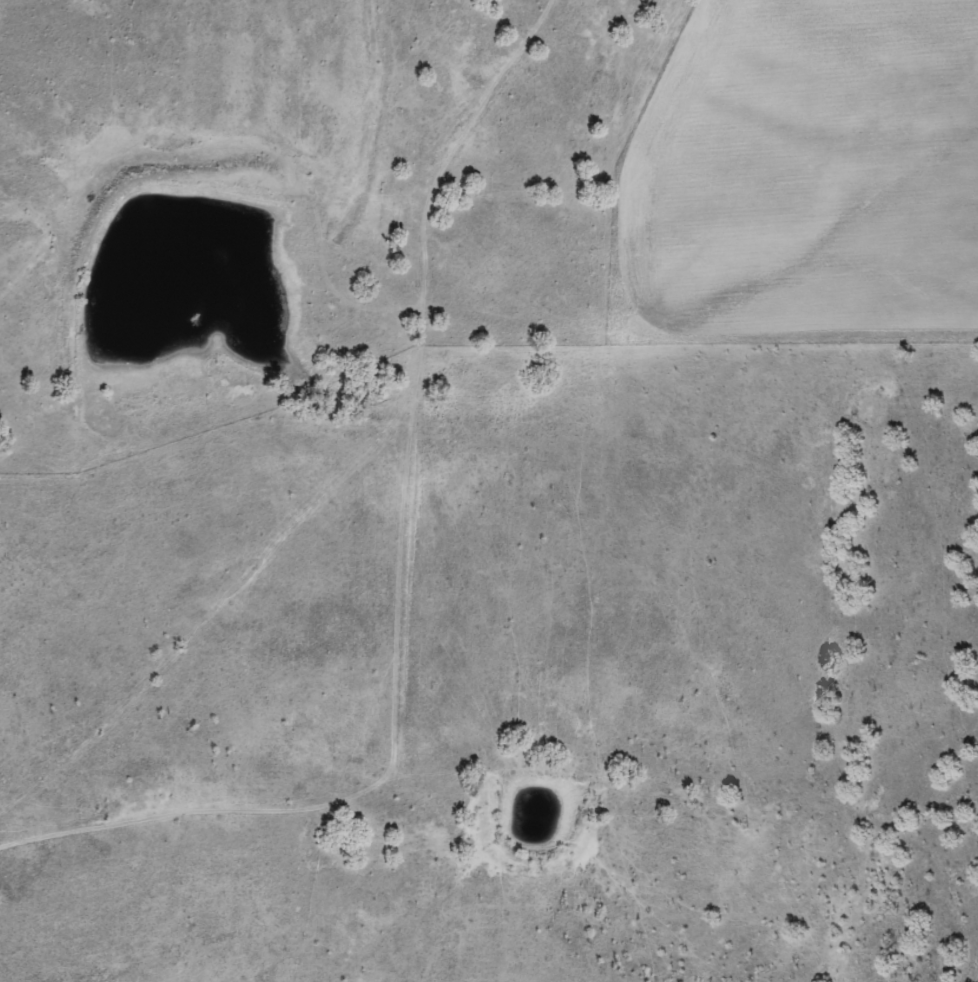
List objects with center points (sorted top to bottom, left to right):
road: (590, 395)

